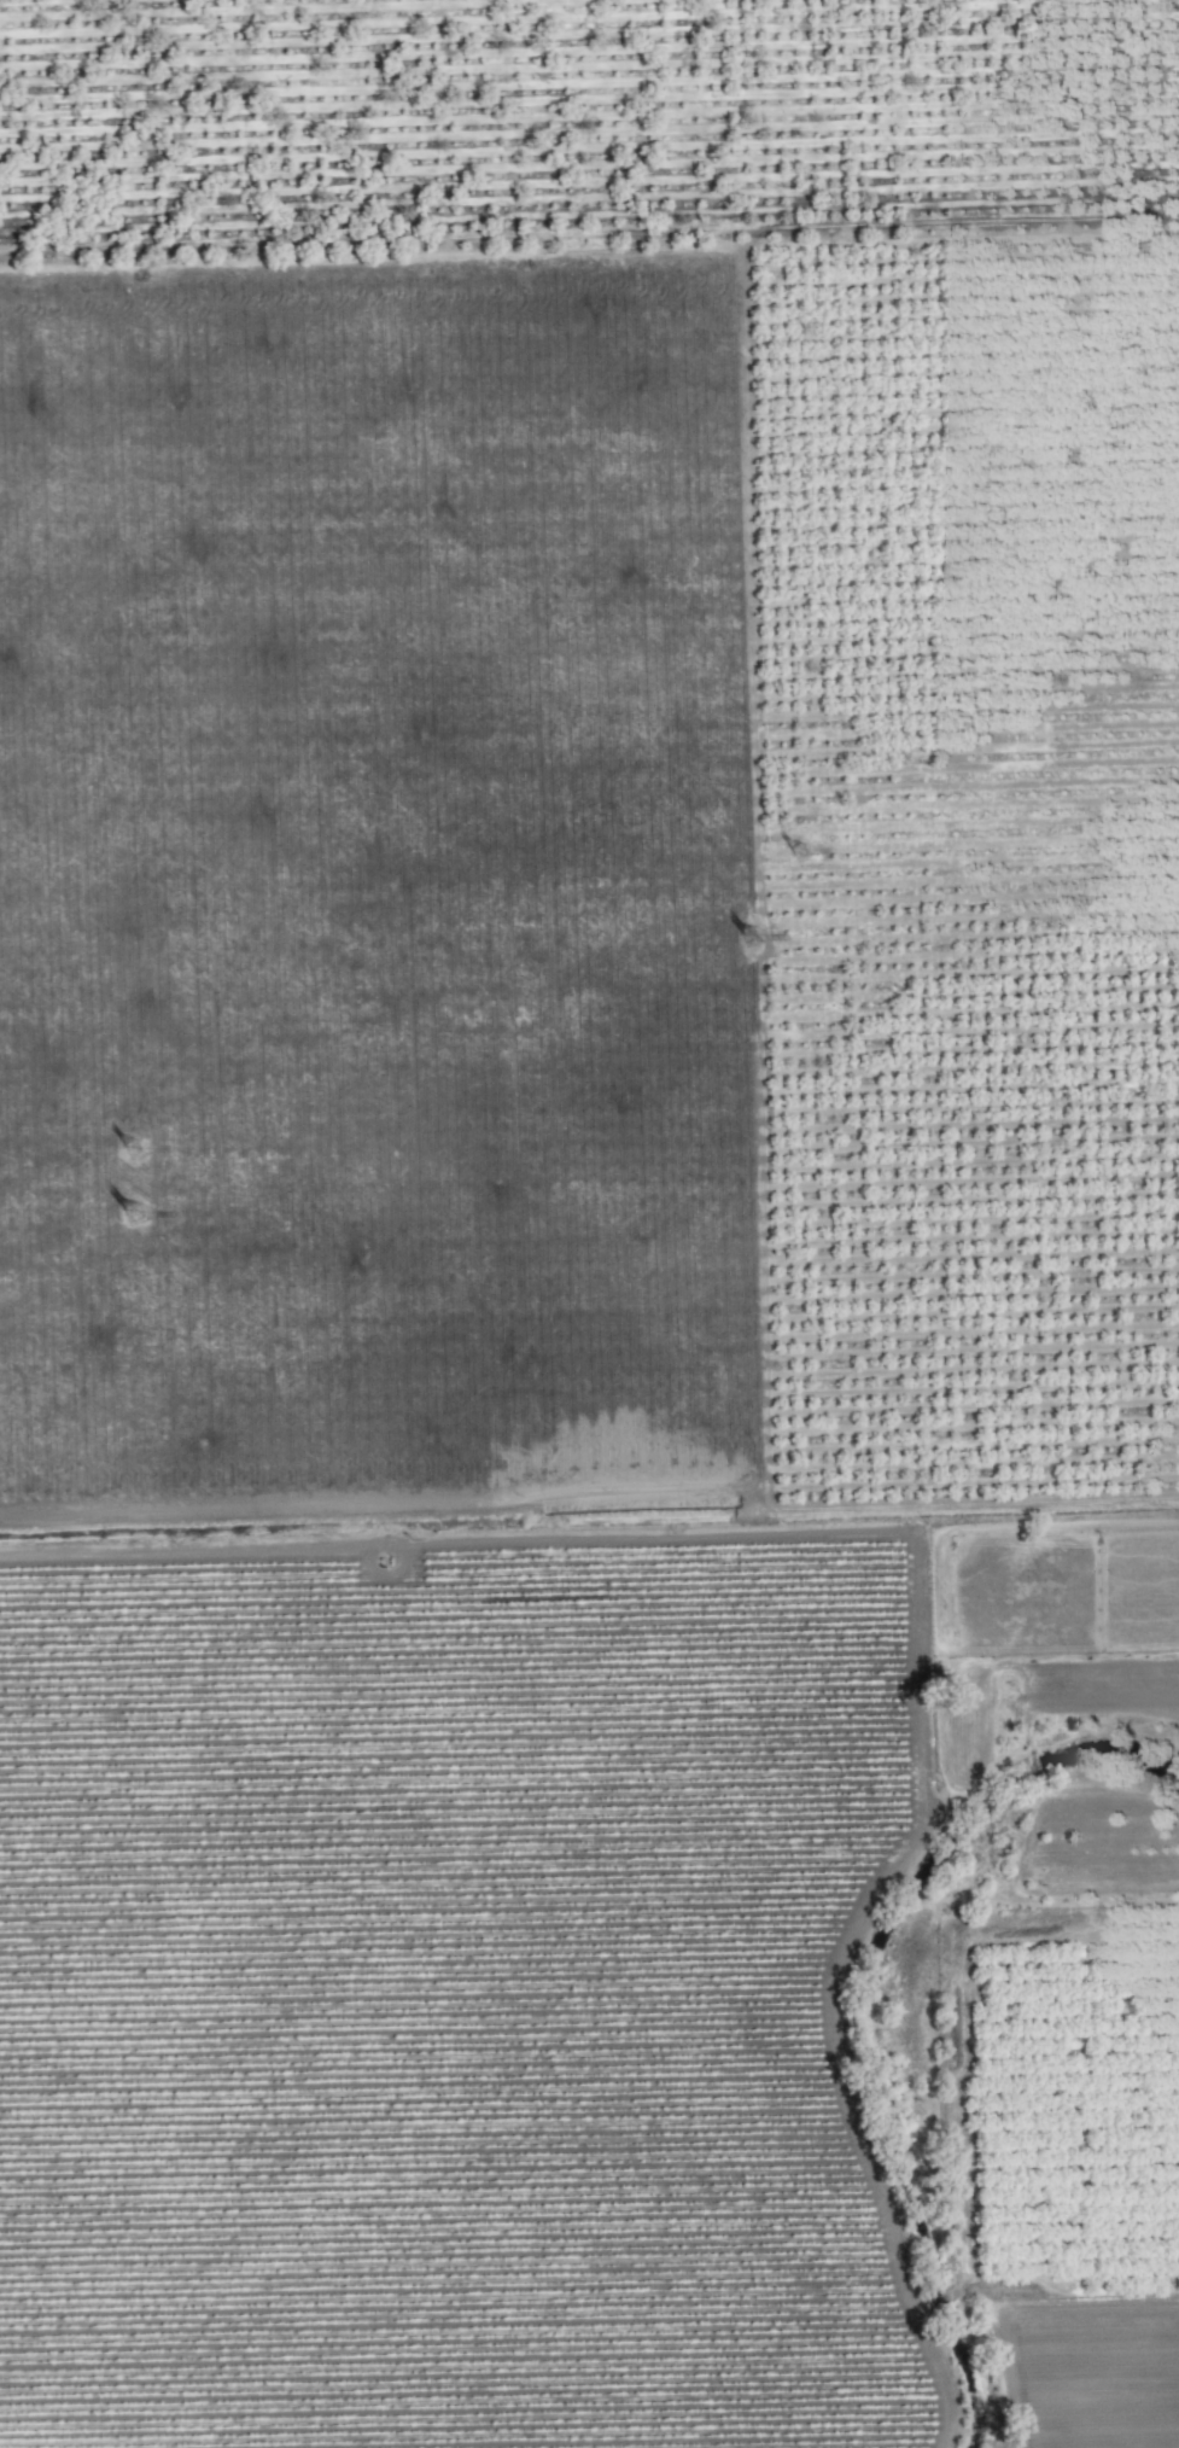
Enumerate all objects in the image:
power tower: (795, 856)
power tower: (743, 942)
power tower: (127, 1155)
power tower: (133, 1216)

